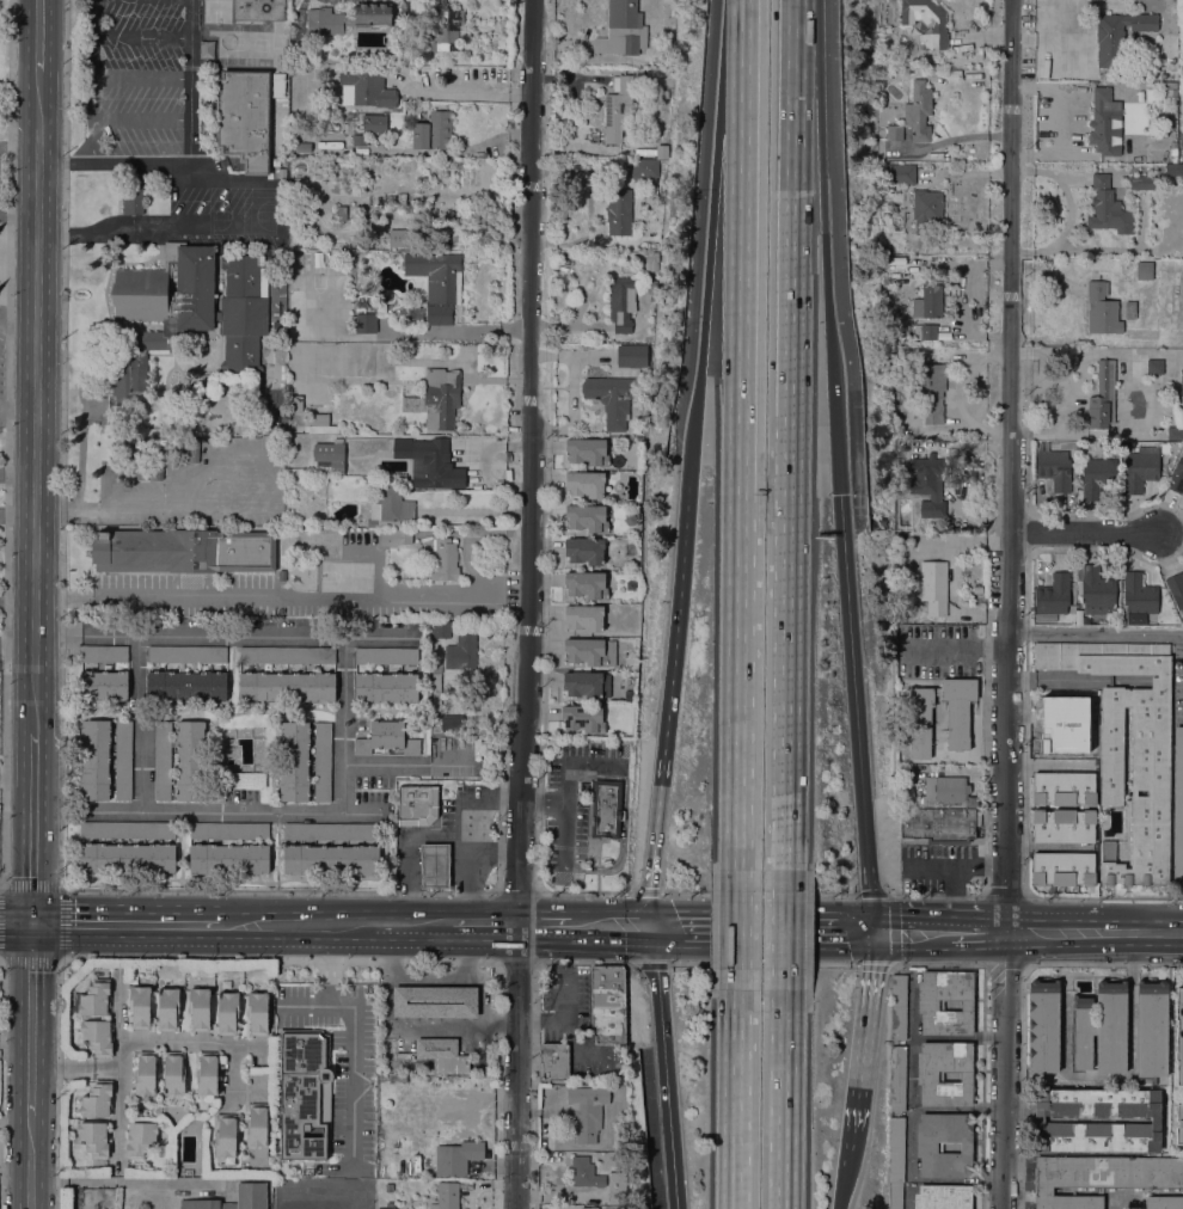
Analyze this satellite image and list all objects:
building: (403, 8)
building: (883, 12)
road: (94, 18)
building: (347, 19)
building: (926, 22)
building: (447, 30)
building: (621, 30)
road: (38, 35)
building: (1117, 36)
road: (142, 37)
road: (791, 49)
building: (403, 51)
building: (299, 54)
road: (94, 56)
road: (142, 78)
building: (883, 80)
road: (190, 81)
building: (1171, 85)
building: (366, 88)
building: (662, 94)
road: (461, 97)
building: (620, 106)
building: (245, 111)
building: (918, 111)
building: (350, 115)
building: (595, 118)
road: (119, 119)
building: (1105, 123)
building: (370, 124)
building: (306, 127)
building: (433, 131)
building: (894, 133)
building: (356, 140)
building: (302, 147)
building: (655, 152)
building: (1173, 152)
building: (945, 157)
building: (275, 162)
road: (114, 164)
building: (256, 166)
building: (618, 167)
road: (808, 167)
building: (644, 170)
building: (1173, 170)
building: (901, 174)
road: (222, 180)
building: (1141, 182)
road: (709, 188)
building: (133, 194)
building: (397, 197)
road: (260, 203)
building: (590, 208)
building: (1108, 208)
building: (926, 209)
road: (1068, 210)
building: (619, 211)
building: (341, 213)
road: (5, 226)
road: (200, 226)
road: (88, 233)
building: (399, 237)
road: (742, 250)
road: (790, 258)
building: (652, 260)
building: (1144, 274)
building: (436, 275)
building: (651, 287)
road: (4, 300)
building: (621, 302)
building: (927, 302)
road: (828, 306)
building: (1101, 307)
building: (1129, 309)
building: (188, 312)
building: (439, 315)
building: (366, 323)
building: (928, 332)
building: (631, 356)
building: (1154, 367)
building: (1182, 381)
building: (932, 393)
building: (1103, 397)
building: (441, 398)
building: (611, 399)
road: (35, 401)
building: (295, 404)
building: (321, 424)
road: (697, 430)
road: (833, 435)
road: (6, 443)
building: (191, 449)
building: (587, 452)
building: (330, 456)
road: (1009, 459)
building: (429, 462)
building: (155, 467)
building: (1141, 467)
road: (260, 468)
building: (1054, 468)
building: (135, 471)
building: (295, 472)
road: (17, 474)
building: (1097, 477)
building: (1176, 477)
building: (586, 484)
building: (927, 485)
traffic signals: (835, 493)
building: (390, 507)
road: (139, 509)
road: (75, 511)
road: (17, 513)
building: (587, 518)
road: (1086, 530)
building: (396, 536)
building: (183, 551)
building: (584, 551)
building: (445, 559)
building: (586, 584)
building: (630, 585)
building: (933, 587)
building: (1176, 589)
building: (1096, 590)
building: (1139, 594)
building: (1052, 597)
road: (281, 599)
road: (17, 600)
road: (528, 604)
building: (584, 618)
building: (1080, 618)
building: (441, 630)
road: (57, 631)
building: (484, 632)
road: (1096, 633)
road: (378, 634)
road: (786, 643)
building: (461, 651)
building: (590, 651)
building: (104, 653)
building: (186, 655)
building: (287, 655)
building: (386, 656)
building: (104, 685)
building: (587, 685)
road: (740, 685)
building: (186, 686)
building: (286, 686)
building: (386, 687)
building: (436, 694)
road: (673, 698)
road: (851, 702)
building: (583, 718)
road: (343, 719)
road: (140, 722)
building: (919, 722)
building: (386, 738)
building: (96, 760)
building: (123, 760)
building: (190, 760)
building: (163, 761)
building: (321, 761)
building: (294, 762)
road: (382, 763)
road: (576, 765)
road: (16, 767)
building: (1150, 769)
road: (623, 788)
building: (1062, 788)
building: (938, 794)
road: (541, 800)
building: (417, 805)
building: (1178, 806)
building: (606, 809)
road: (621, 816)
building: (938, 826)
building: (1062, 826)
road: (32, 828)
building: (127, 830)
building: (229, 830)
building: (331, 831)
road: (562, 831)
road: (443, 836)
road: (1042, 847)
building: (1108, 851)
building: (127, 857)
building: (228, 858)
building: (331, 859)
building: (435, 865)
gas station: (435, 865)
parking lot: (937, 865)
road: (944, 866)
road: (987, 866)
road: (998, 866)
road: (611, 869)
building: (1062, 870)
road: (954, 880)
road: (61, 886)
traffic signals: (649, 886)
road: (642, 894)
road: (759, 895)
parking lot: (954, 895)
road: (954, 897)
road: (954, 908)
road: (372, 910)
road: (545, 910)
road: (611, 910)
traffic signals: (673, 912)
road: (706, 912)
road: (814, 913)
traffic signals: (899, 914)
road: (908, 914)
road: (980, 918)
road: (1053, 920)
road: (1141, 921)
road: (16, 923)
traffic signals: (32, 923)
road: (130, 925)
road: (332, 925)
road: (650, 927)
road: (737, 929)
road: (784, 929)
road: (864, 929)
road: (891, 932)
road: (1005, 932)
road: (301, 938)
road: (413, 940)
road: (484, 941)
road: (583, 943)
traffic signals: (623, 945)
road: (976, 945)
road: (1093, 945)
road: (709, 946)
road: (814, 947)
traffic signals: (846, 947)
road: (906, 947)
road: (0, 957)
road: (281, 961)
road: (519, 963)
road: (584, 963)
road: (762, 964)
road: (649, 965)
road: (1005, 974)
traffic signals: (863, 976)
building: (93, 999)
building: (434, 1001)
road: (431, 1002)
building: (607, 1004)
building: (927, 1005)
building: (139, 1006)
building: (897, 1006)
building: (167, 1008)
building: (198, 1009)
building: (227, 1013)
building: (257, 1013)
road: (32, 1019)
building: (1043, 1026)
building: (1151, 1027)
road: (483, 1029)
building: (1099, 1029)
building: (1178, 1036)
building: (96, 1037)
road: (118, 1037)
road: (854, 1038)
road: (200, 1041)
road: (355, 1042)
building: (442, 1054)
building: (403, 1055)
building: (554, 1060)
road: (63, 1066)
building: (173, 1073)
building: (145, 1074)
building: (207, 1074)
road: (666, 1076)
building: (926, 1076)
building: (896, 1078)
building: (304, 1092)
building: (97, 1099)
road: (736, 1099)
road: (783, 1099)
road: (1005, 1105)
building: (1156, 1119)
road: (117, 1121)
building: (587, 1121)
road: (912, 1122)
building: (1178, 1124)
building: (257, 1129)
building: (94, 1139)
building: (139, 1139)
building: (226, 1139)
road: (844, 1142)
building: (926, 1147)
building: (895, 1149)
building: (456, 1158)
road: (31, 1161)
road: (840, 1167)
building: (584, 1173)
building: (1099, 1177)
road: (48, 1180)
road: (93, 1180)
road: (167, 1182)
building: (614, 1189)
building: (251, 1190)
road: (836, 1195)
building: (894, 1195)
parking lot: (894, 1195)
building: (447, 1196)
building: (943, 1197)
building: (1163, 1202)
building: (385, 1208)
building: (591, 1208)

